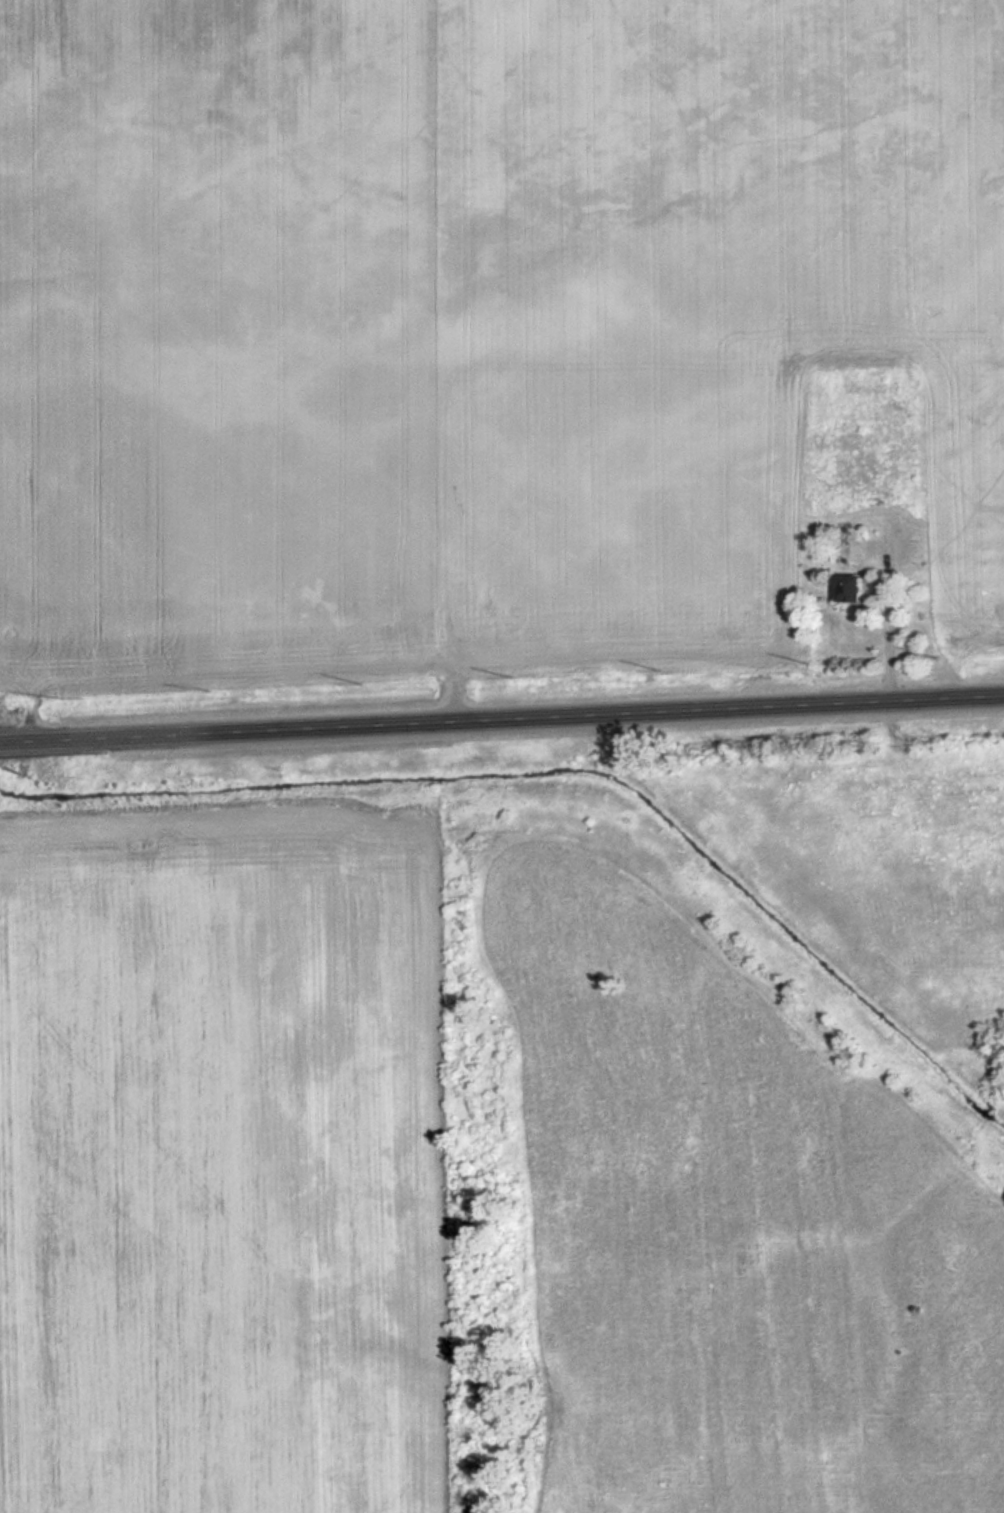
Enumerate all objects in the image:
building: (879, 532)
building: (856, 587)
road: (502, 721)

